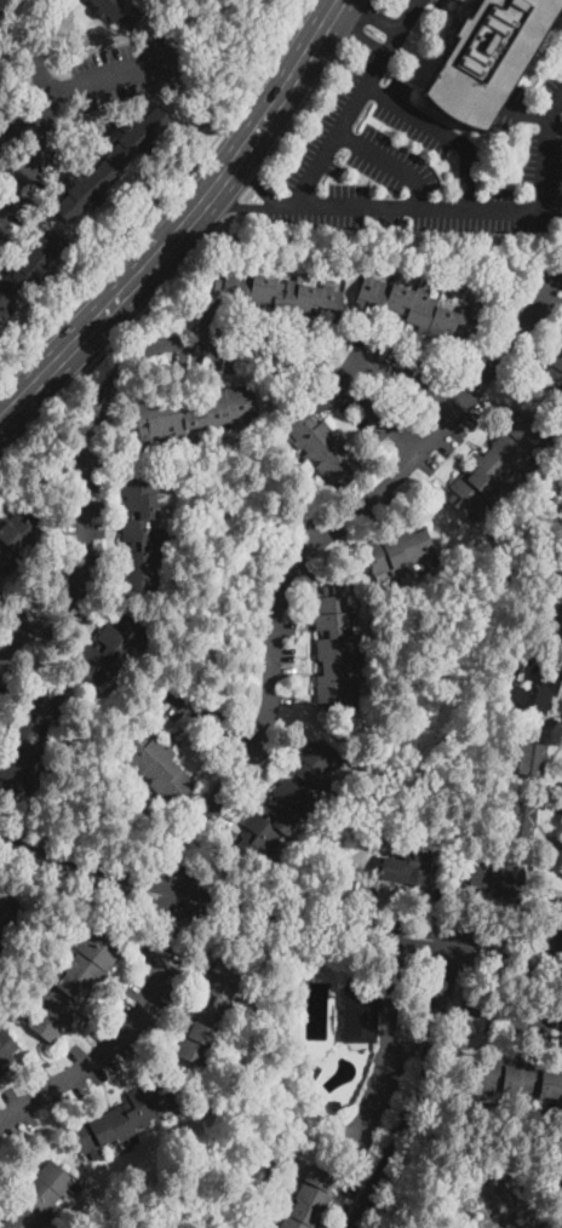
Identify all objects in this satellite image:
parking lot: (436, 2)
parking lot: (415, 4)
road: (368, 10)
building: (119, 11)
road: (389, 11)
road: (359, 22)
road: (355, 33)
parking lot: (385, 46)
building: (488, 58)
parking lot: (561, 59)
road: (116, 70)
road: (36, 76)
road: (352, 102)
road: (303, 110)
road: (438, 131)
road: (35, 156)
road: (385, 161)
building: (114, 163)
parking lot: (413, 165)
road: (254, 179)
road: (257, 182)
road: (247, 194)
road: (166, 200)
road: (285, 203)
road: (236, 205)
road: (237, 206)
road: (474, 206)
road: (185, 222)
building: (30, 270)
building: (280, 294)
building: (419, 309)
road: (119, 339)
road: (125, 368)
road: (395, 371)
building: (555, 373)
building: (195, 412)
building: (325, 449)
building: (497, 464)
building: (142, 534)
building: (18, 536)
building: (400, 550)
road: (300, 556)
building: (0, 591)
building: (552, 624)
building: (109, 645)
building: (336, 649)
building: (539, 690)
road: (206, 719)
building: (31, 735)
building: (532, 759)
building: (159, 769)
building: (291, 798)
building: (521, 820)
road: (82, 848)
building: (408, 870)
road: (184, 874)
building: (495, 876)
road: (78, 894)
road: (375, 907)
road: (276, 914)
road: (173, 918)
road: (557, 935)
road: (308, 942)
road: (448, 964)
road: (514, 975)
building: (74, 985)
building: (213, 1010)
road: (500, 1011)
building: (361, 1014)
road: (124, 1039)
road: (389, 1044)
road: (409, 1049)
building: (6, 1051)
building: (300, 1058)
building: (314, 1074)
building: (518, 1078)
road: (423, 1091)
road: (436, 1103)
building: (336, 1106)
building: (122, 1118)
road: (402, 1181)
building: (40, 1197)
building: (310, 1199)

